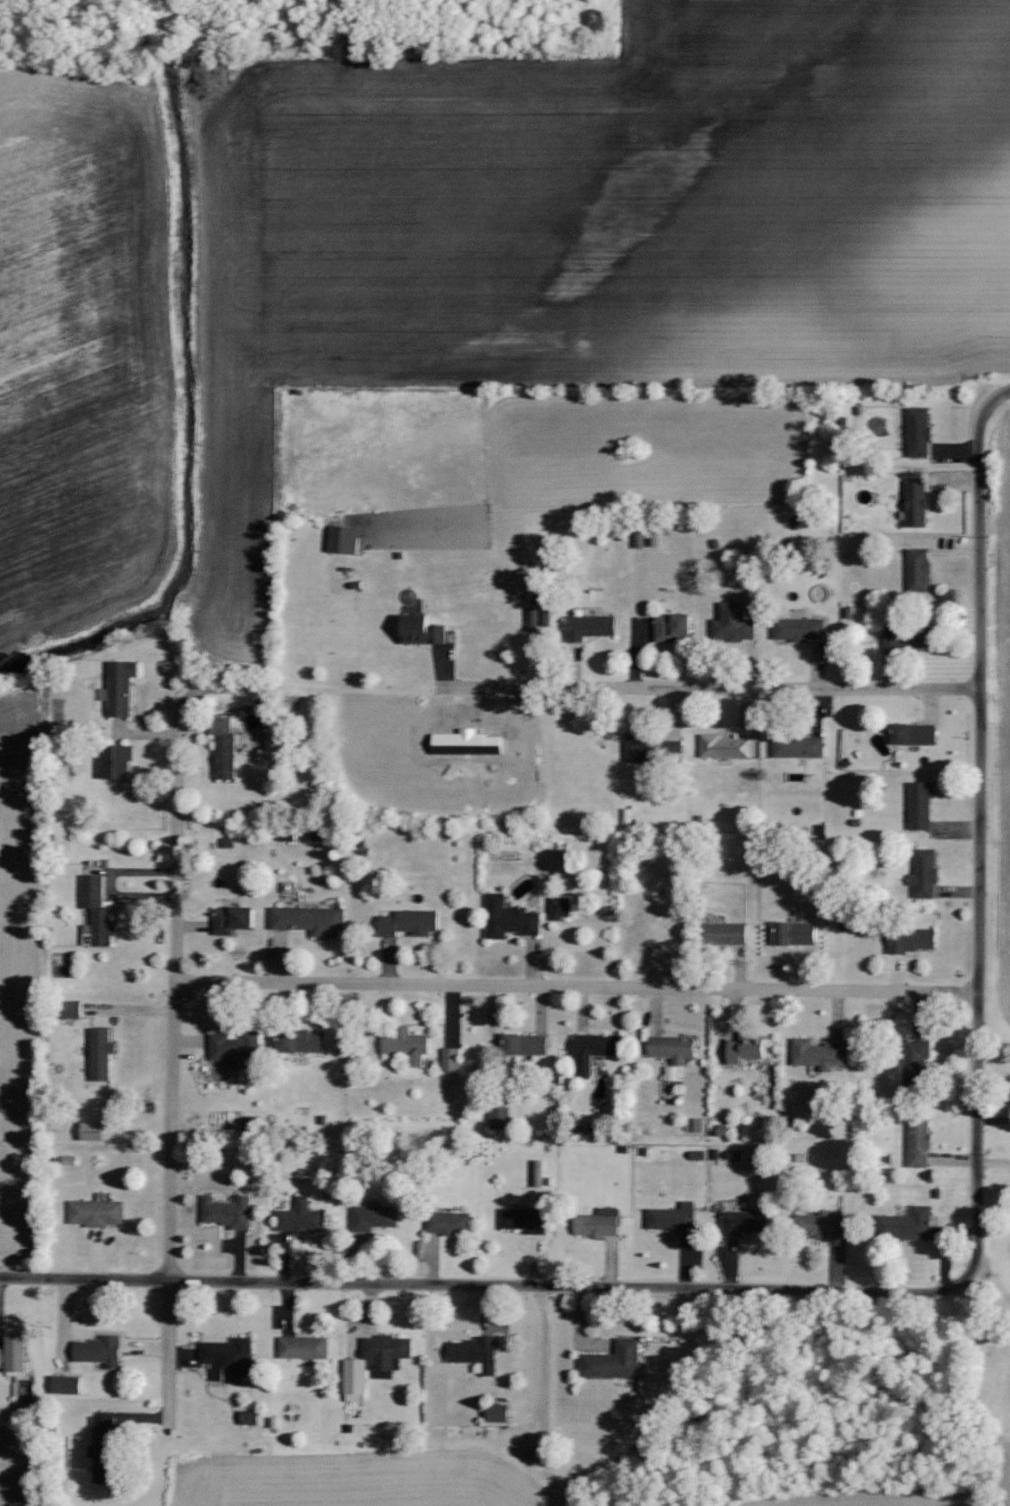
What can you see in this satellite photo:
building: (920, 431)
building: (918, 503)
building: (347, 539)
building: (920, 569)
building: (541, 613)
building: (735, 622)
building: (593, 626)
building: (674, 626)
building: (801, 629)
building: (425, 630)
building: (911, 638)
road: (708, 685)
building: (122, 687)
building: (917, 733)
building: (226, 747)
building: (728, 747)
building: (800, 747)
building: (644, 748)
building: (119, 762)
building: (923, 804)
road: (979, 830)
building: (926, 873)
building: (563, 908)
building: (100, 910)
building: (511, 918)
building: (235, 919)
building: (310, 919)
building: (412, 922)
building: (727, 933)
building: (798, 933)
building: (915, 940)
road: (576, 984)
building: (77, 1009)
road: (171, 1027)
building: (304, 1041)
building: (528, 1044)
building: (410, 1045)
building: (237, 1047)
building: (675, 1048)
building: (597, 1049)
building: (748, 1049)
building: (103, 1054)
building: (820, 1054)
building: (453, 1059)
building: (918, 1063)
building: (674, 1073)
building: (502, 1117)
building: (700, 1125)
building: (920, 1142)
building: (229, 1212)
building: (98, 1213)
building: (374, 1217)
building: (303, 1218)
building: (526, 1219)
building: (676, 1219)
building: (746, 1222)
building: (450, 1223)
building: (600, 1223)
building: (826, 1224)
building: (913, 1224)
road: (481, 1282)
building: (306, 1348)
building: (101, 1351)
building: (388, 1353)
building: (478, 1354)
building: (15, 1355)
building: (229, 1357)
building: (615, 1361)
building: (357, 1380)
building: (69, 1385)
building: (500, 1413)
building: (252, 1417)
building: (107, 1450)

